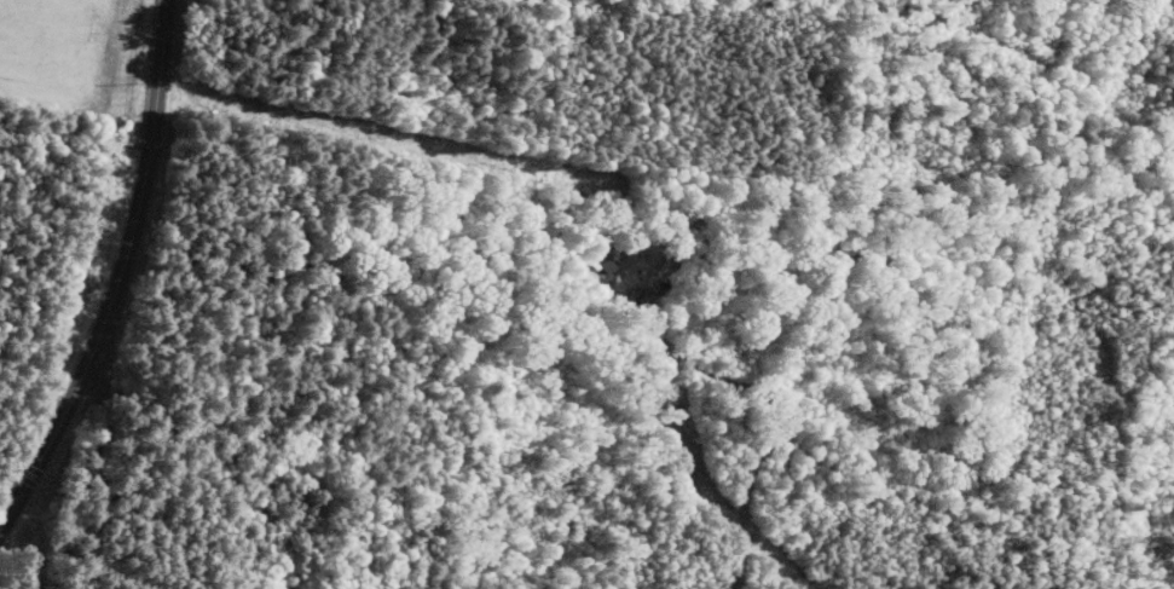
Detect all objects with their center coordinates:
road: (118, 275)
road: (93, 470)

